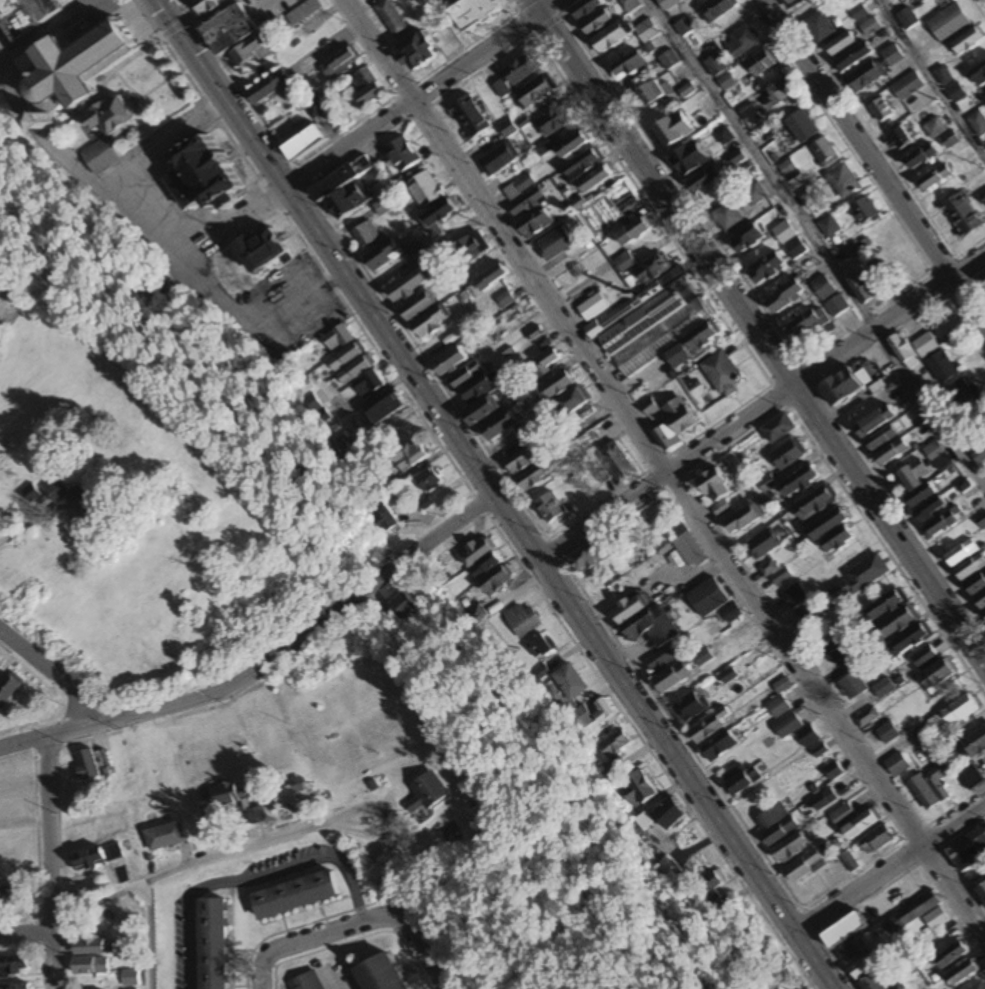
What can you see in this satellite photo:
building: (918, 0)
building: (793, 3)
building: (628, 5)
building: (206, 7)
building: (585, 9)
building: (717, 9)
building: (856, 10)
building: (302, 12)
building: (471, 12)
building: (22, 14)
building: (389, 18)
building: (906, 19)
building: (597, 22)
building: (949, 23)
building: (819, 27)
building: (869, 27)
building: (227, 29)
traffic signals: (179, 30)
building: (646, 31)
road: (52, 33)
building: (609, 38)
building: (967, 41)
building: (741, 42)
building: (840, 45)
parking lot: (2, 48)
building: (249, 51)
building: (413, 52)
building: (891, 55)
building: (852, 57)
building: (338, 63)
building: (760, 63)
building: (715, 66)
building: (627, 67)
building: (514, 74)
building: (978, 74)
building: (69, 75)
building: (864, 77)
road: (929, 79)
building: (726, 82)
building: (364, 86)
building: (907, 86)
building: (266, 87)
building: (534, 91)
building: (780, 91)
road: (431, 96)
building: (881, 109)
building: (313, 110)
building: (110, 116)
building: (468, 117)
building: (554, 120)
building: (977, 123)
building: (801, 126)
building: (507, 128)
building: (934, 128)
building: (672, 130)
building: (723, 136)
building: (899, 138)
building: (949, 140)
building: (301, 143)
building: (572, 145)
building: (824, 152)
building: (400, 154)
building: (98, 156)
road: (874, 156)
building: (920, 156)
building: (689, 158)
building: (499, 159)
building: (583, 164)
building: (789, 170)
road: (103, 176)
building: (199, 176)
building: (935, 177)
building: (704, 180)
building: (595, 181)
building: (843, 181)
building: (518, 187)
building: (424, 189)
building: (754, 194)
building: (982, 196)
building: (809, 197)
building: (346, 199)
building: (526, 203)
building: (380, 207)
building: (865, 210)
building: (961, 215)
building: (437, 216)
building: (728, 216)
building: (535, 224)
building: (829, 226)
building: (632, 231)
building: (364, 233)
building: (746, 239)
building: (789, 239)
road: (819, 240)
building: (554, 243)
building: (854, 248)
building: (258, 249)
building: (468, 249)
building: (381, 255)
building: (415, 255)
building: (624, 262)
building: (766, 268)
building: (653, 269)
building: (983, 276)
building: (491, 277)
building: (408, 285)
building: (863, 289)
building: (786, 295)
building: (504, 300)
building: (418, 305)
building: (836, 306)
building: (430, 322)
building: (643, 322)
building: (807, 323)
road: (762, 326)
building: (533, 334)
building: (702, 336)
building: (335, 338)
building: (541, 343)
building: (925, 346)
building: (904, 351)
building: (344, 356)
building: (447, 362)
building: (545, 363)
building: (942, 368)
building: (354, 369)
building: (721, 374)
building: (464, 376)
building: (984, 376)
building: (366, 385)
building: (555, 387)
building: (840, 387)
building: (478, 391)
building: (963, 396)
building: (573, 401)
building: (309, 404)
building: (383, 409)
building: (650, 409)
building: (480, 412)
road: (765, 412)
building: (979, 420)
building: (875, 423)
building: (674, 424)
building: (499, 427)
building: (777, 429)
building: (882, 439)
building: (934, 452)
building: (892, 453)
building: (788, 454)
building: (406, 455)
building: (979, 455)
building: (342, 456)
building: (524, 460)
building: (617, 463)
road: (669, 464)
building: (533, 479)
building: (428, 480)
building: (798, 483)
building: (916, 484)
building: (715, 492)
building: (29, 493)
road: (495, 495)
building: (76, 499)
building: (815, 505)
building: (550, 508)
building: (930, 510)
building: (382, 516)
building: (743, 520)
building: (981, 521)
building: (943, 523)
building: (827, 525)
building: (837, 540)
building: (763, 544)
building: (685, 545)
building: (477, 552)
building: (961, 553)
building: (596, 554)
building: (970, 568)
building: (774, 572)
building: (436, 573)
building: (866, 573)
building: (492, 576)
building: (976, 584)
building: (708, 597)
building: (981, 601)
building: (800, 604)
building: (886, 605)
building: (403, 606)
building: (475, 613)
building: (731, 613)
building: (984, 613)
building: (522, 620)
building: (645, 621)
building: (897, 623)
building: (539, 646)
building: (839, 648)
building: (703, 657)
building: (923, 657)
building: (663, 660)
road: (267, 663)
road: (54, 675)
building: (937, 675)
building: (729, 676)
building: (673, 678)
building: (569, 682)
building: (853, 686)
building: (9, 688)
building: (883, 688)
building: (779, 708)
building: (689, 709)
building: (959, 710)
building: (605, 714)
building: (581, 717)
building: (867, 718)
building: (934, 722)
building: (708, 729)
building: (797, 731)
building: (888, 733)
building: (975, 743)
building: (615, 745)
building: (720, 747)
building: (820, 752)
building: (897, 765)
building: (86, 766)
building: (609, 772)
building: (834, 772)
building: (971, 777)
building: (939, 778)
building: (741, 780)
building: (638, 790)
building: (424, 793)
building: (924, 793)
building: (229, 795)
building: (291, 796)
building: (824, 801)
building: (669, 815)
building: (842, 815)
building: (772, 818)
building: (860, 826)
building: (780, 833)
road: (50, 834)
building: (165, 837)
building: (877, 840)
road: (272, 844)
building: (790, 849)
building: (968, 850)
building: (97, 857)
building: (849, 862)
road: (890, 866)
building: (805, 867)
building: (711, 883)
building: (982, 893)
building: (295, 895)
building: (11, 896)
road: (136, 902)
building: (912, 913)
road: (371, 920)
building: (937, 920)
building: (844, 931)
road: (27, 933)
building: (211, 944)
building: (93, 947)
building: (850, 952)
building: (952, 956)
road: (55, 960)
building: (773, 961)
building: (13, 966)
building: (90, 966)
building: (866, 967)
road: (263, 973)
building: (382, 974)
building: (963, 974)
building: (129, 977)

